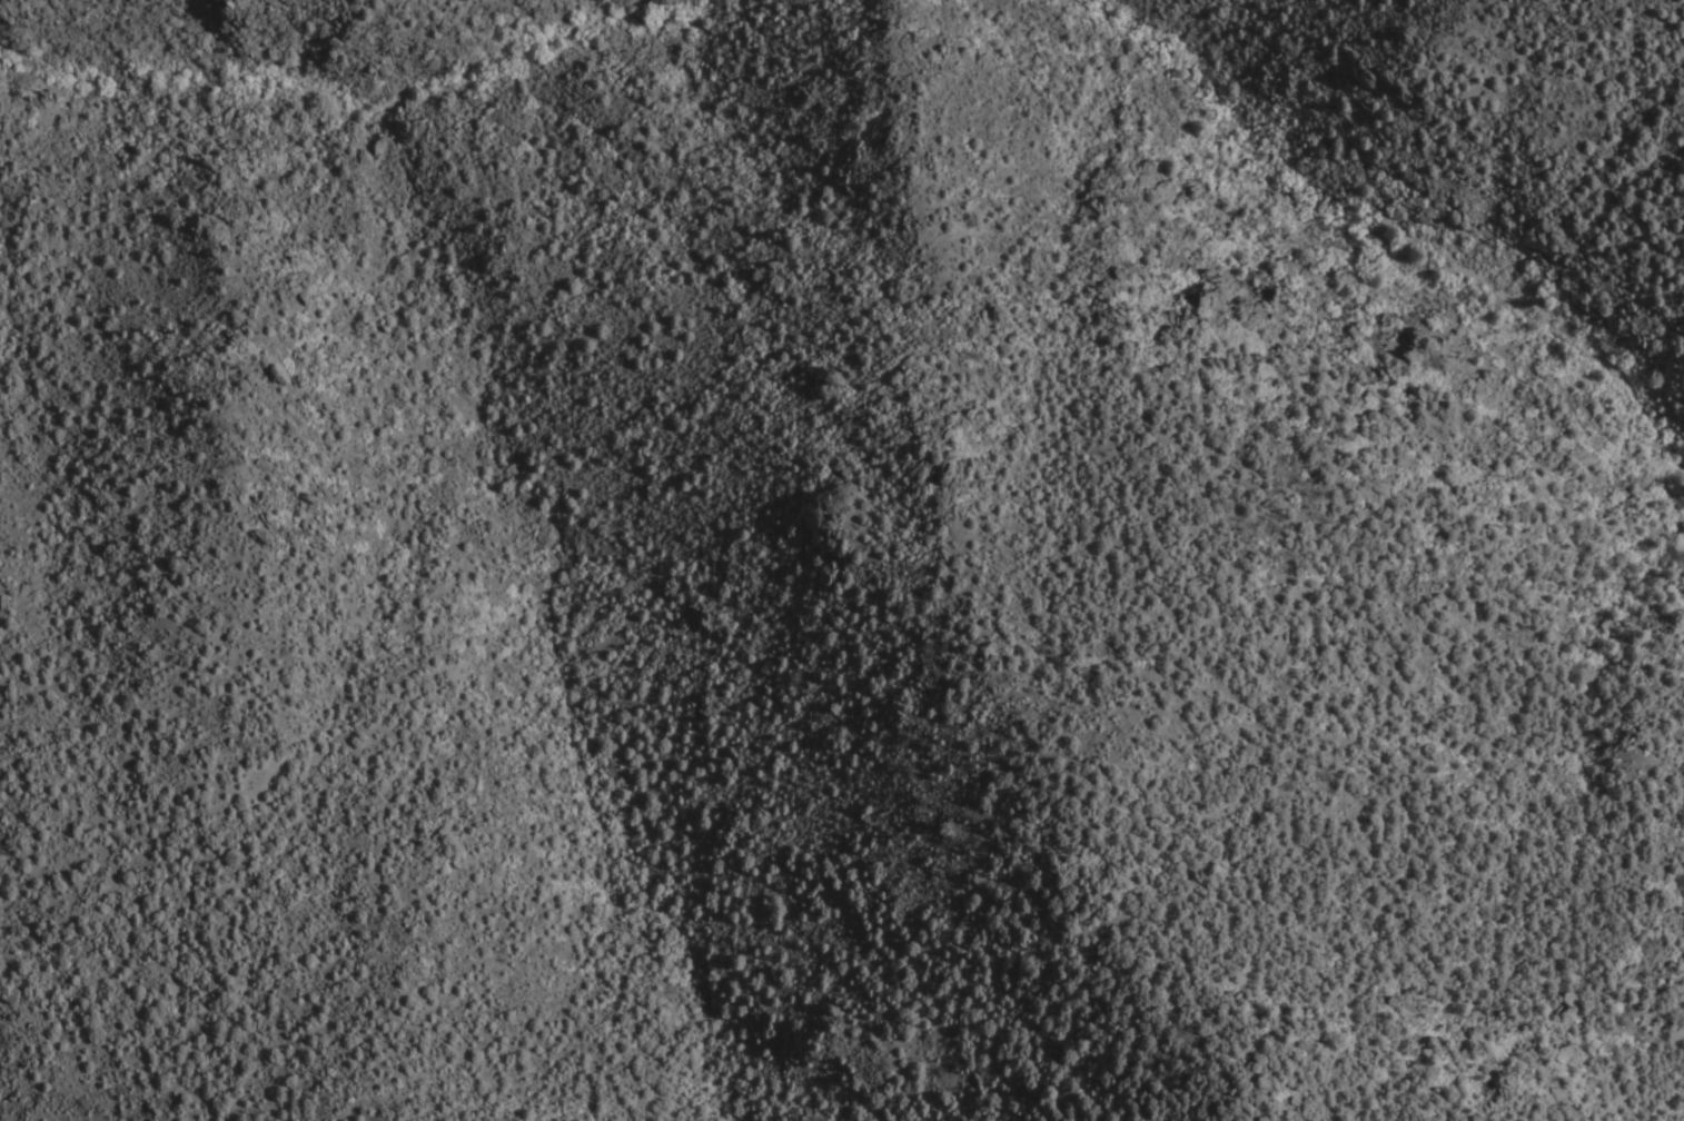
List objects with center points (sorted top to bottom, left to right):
road: (1395, 2)
road: (450, 4)
road: (1584, 70)
road: (293, 90)
road: (1385, 227)

